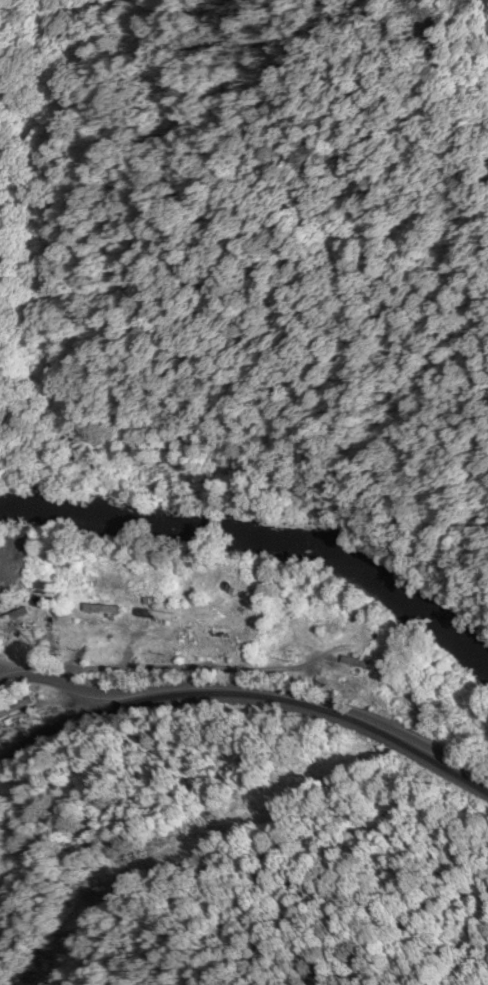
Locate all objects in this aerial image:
river: (259, 534)
building: (16, 610)
building: (324, 621)
building: (93, 622)
road: (251, 689)
railway: (247, 727)

